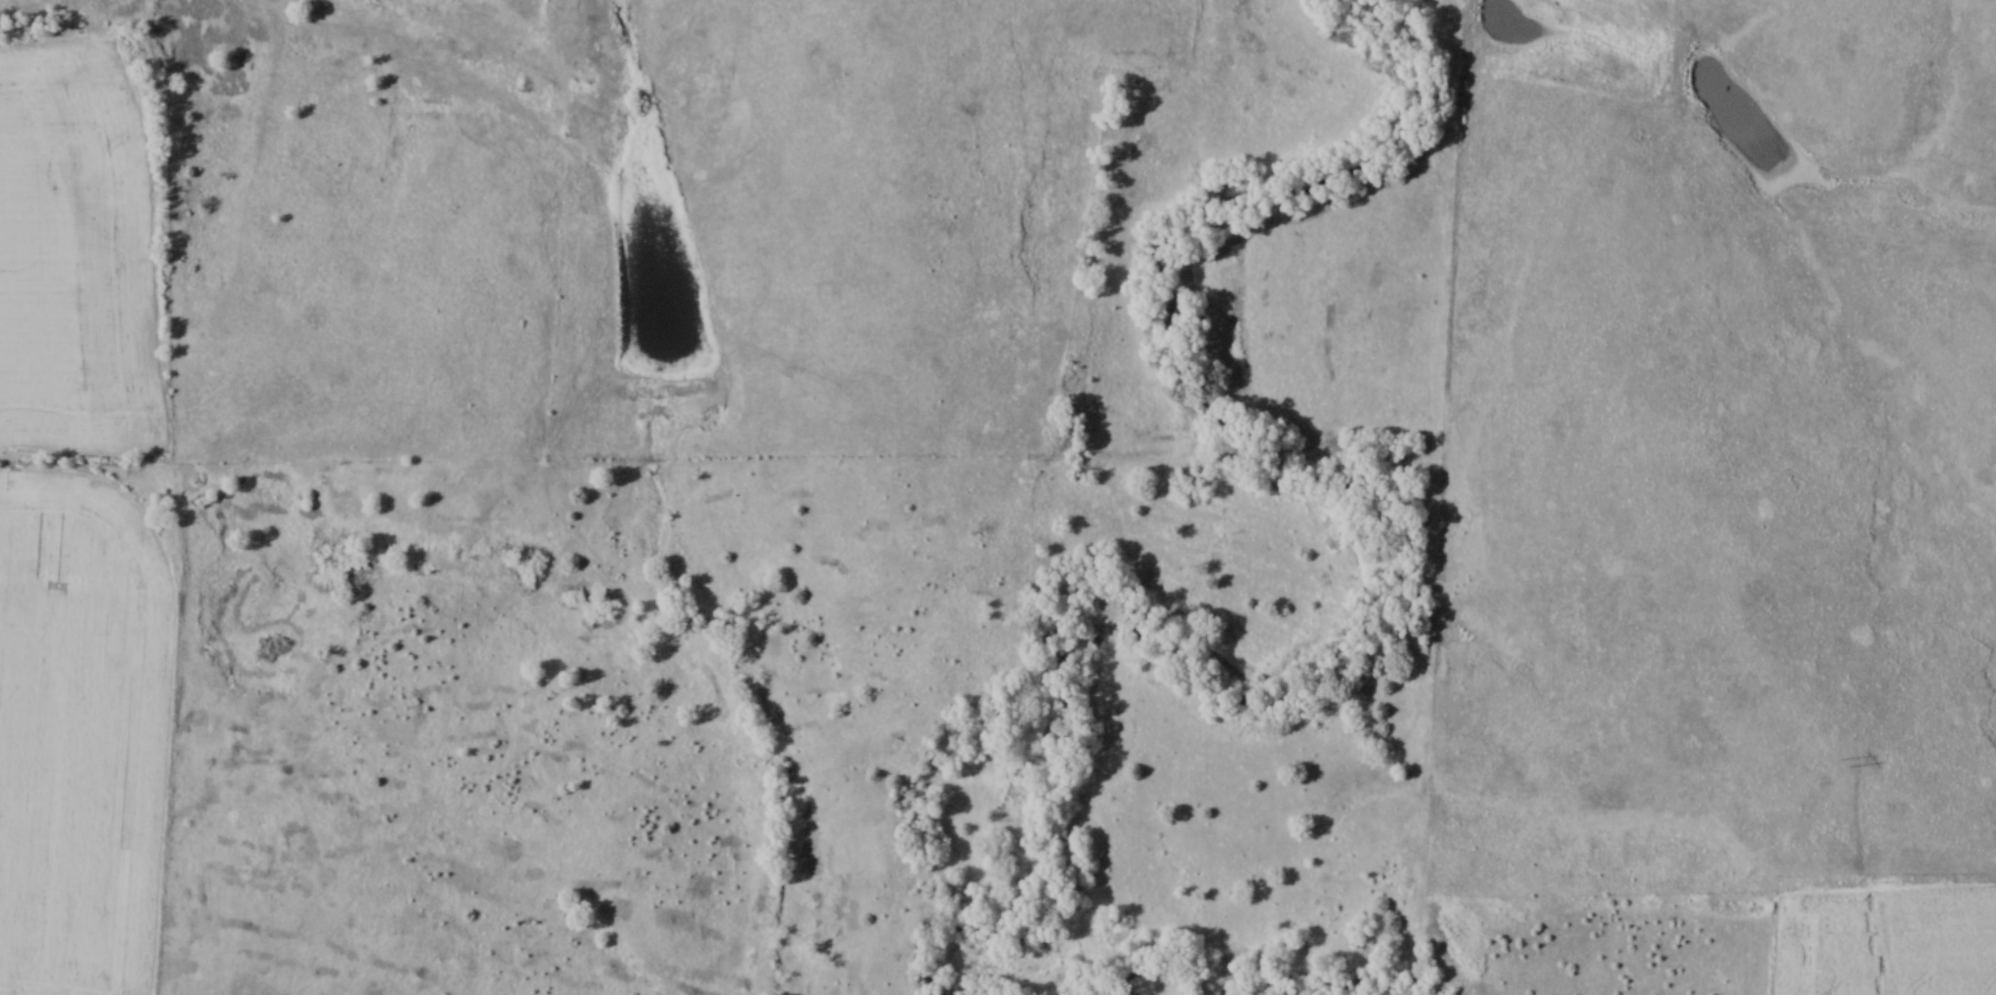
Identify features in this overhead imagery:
power tower: (1846, 767)

